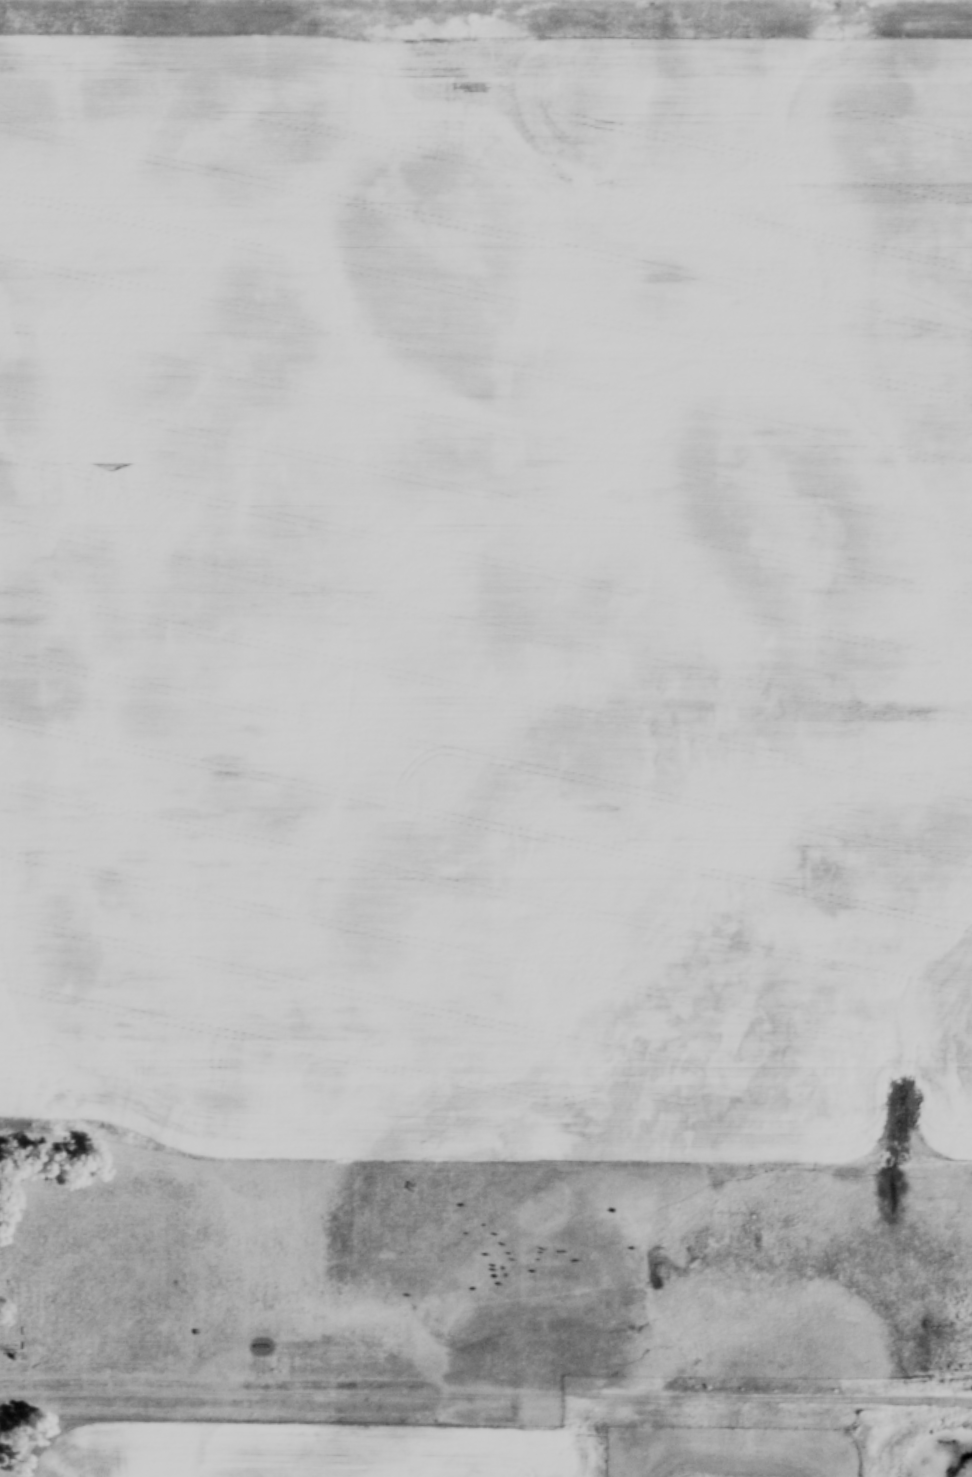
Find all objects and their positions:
road: (486, 1392)

